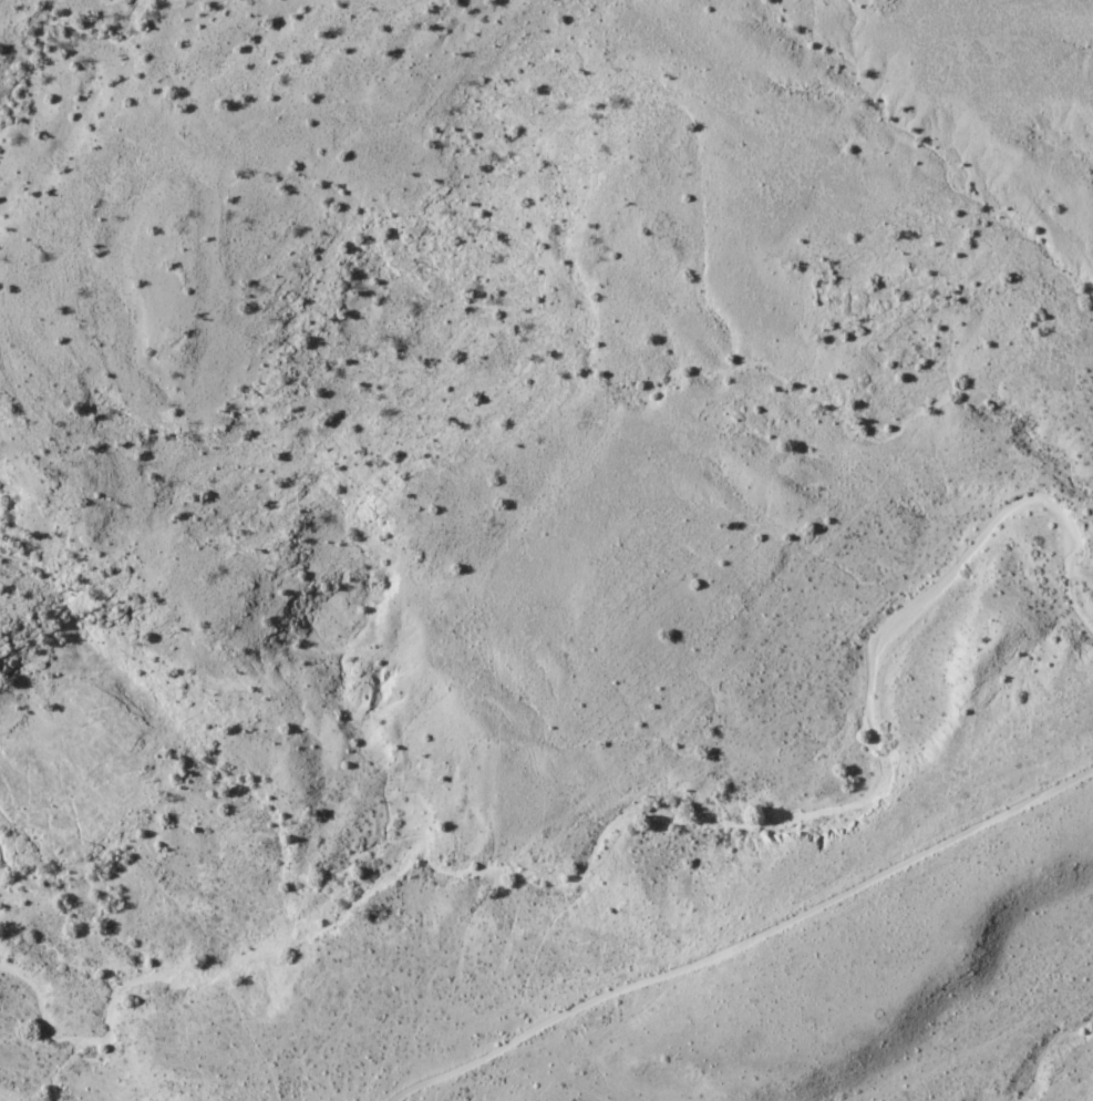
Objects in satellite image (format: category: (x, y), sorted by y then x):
road: (749, 939)

